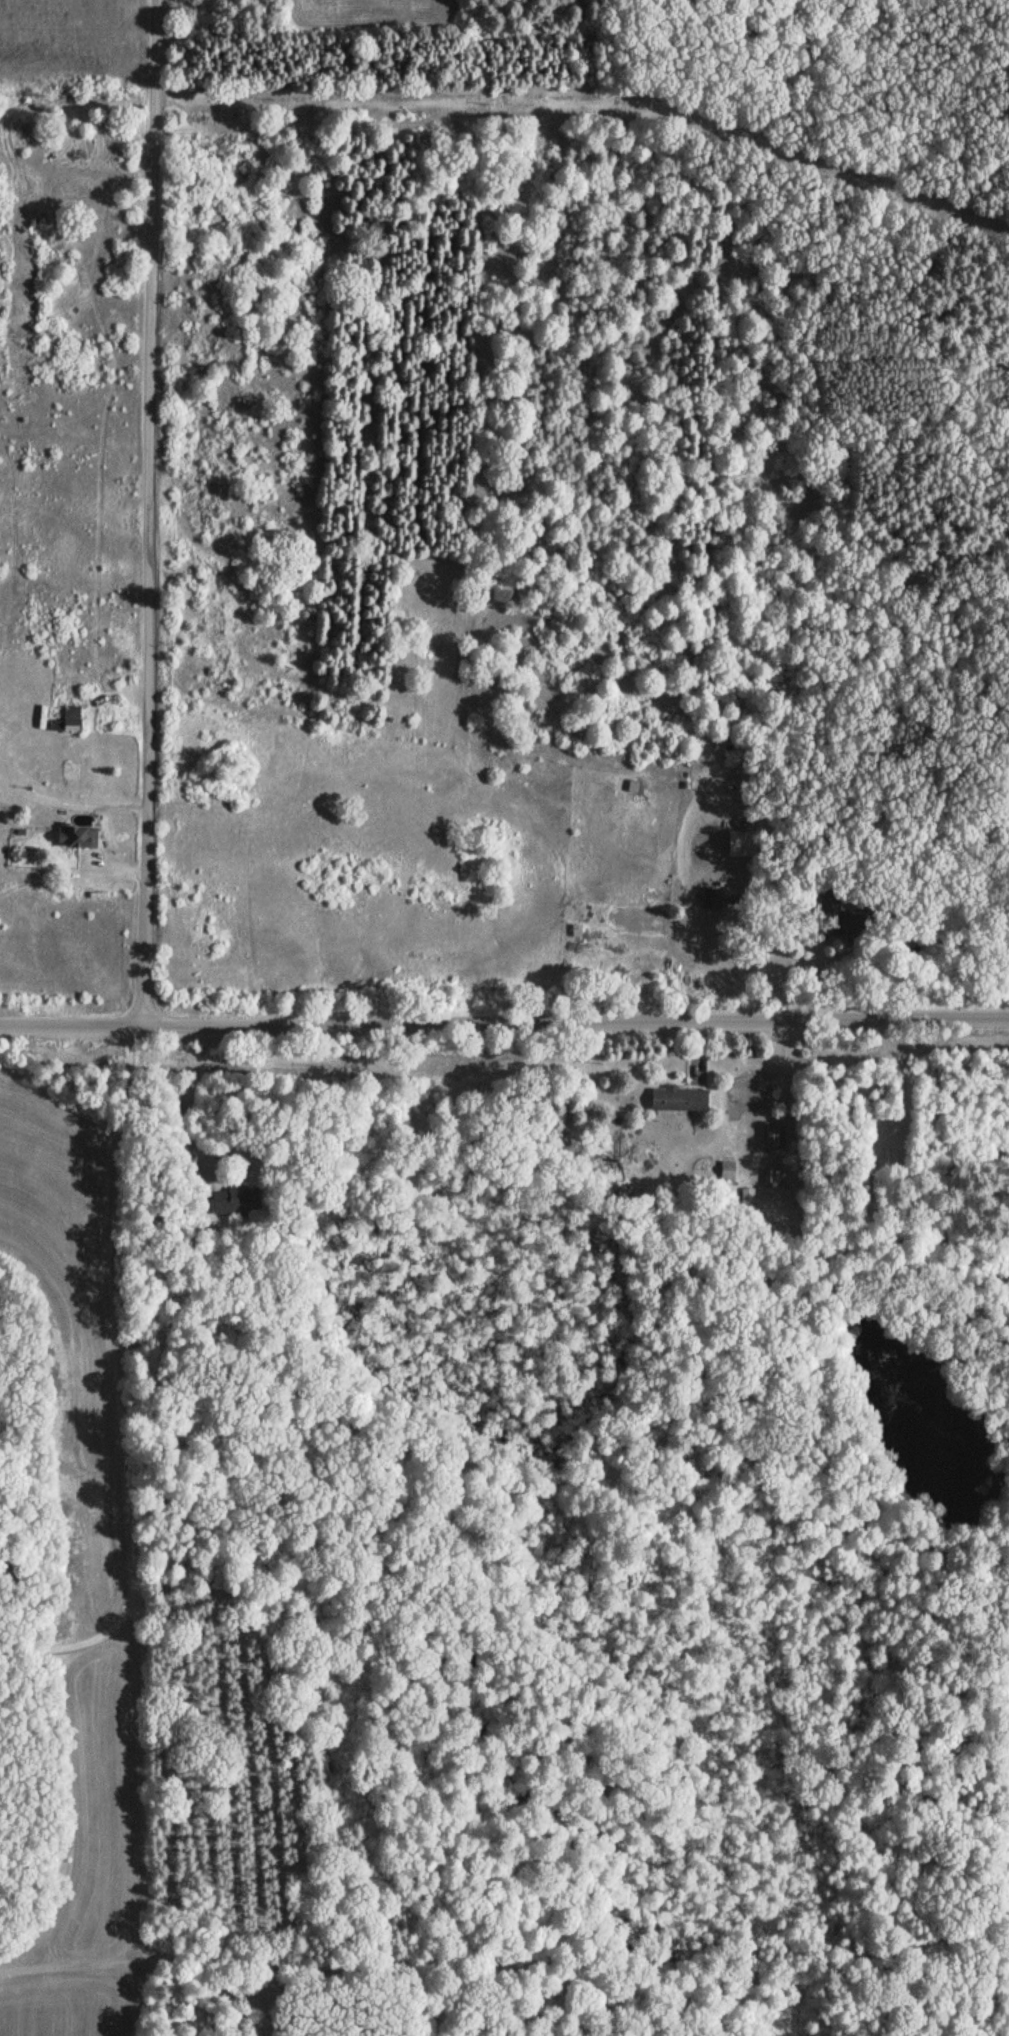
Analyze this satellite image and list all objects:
road: (149, 512)
building: (67, 722)
building: (70, 776)
building: (75, 839)
building: (739, 845)
building: (715, 900)
building: (830, 908)
building: (856, 925)
road: (504, 1023)
building: (677, 1100)
building: (775, 1139)
building: (236, 1200)
road: (143, 1530)

